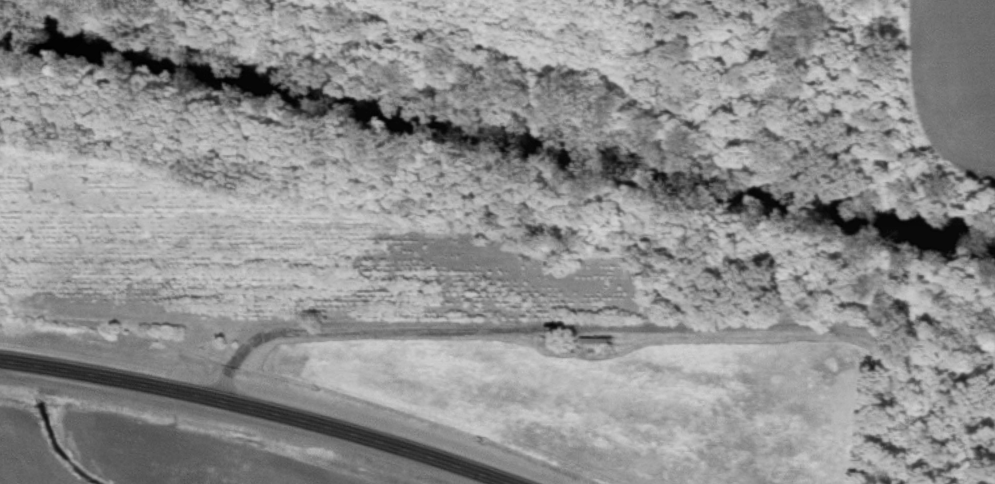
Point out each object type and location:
road: (595, 329)
road: (252, 408)
road: (869, 410)

